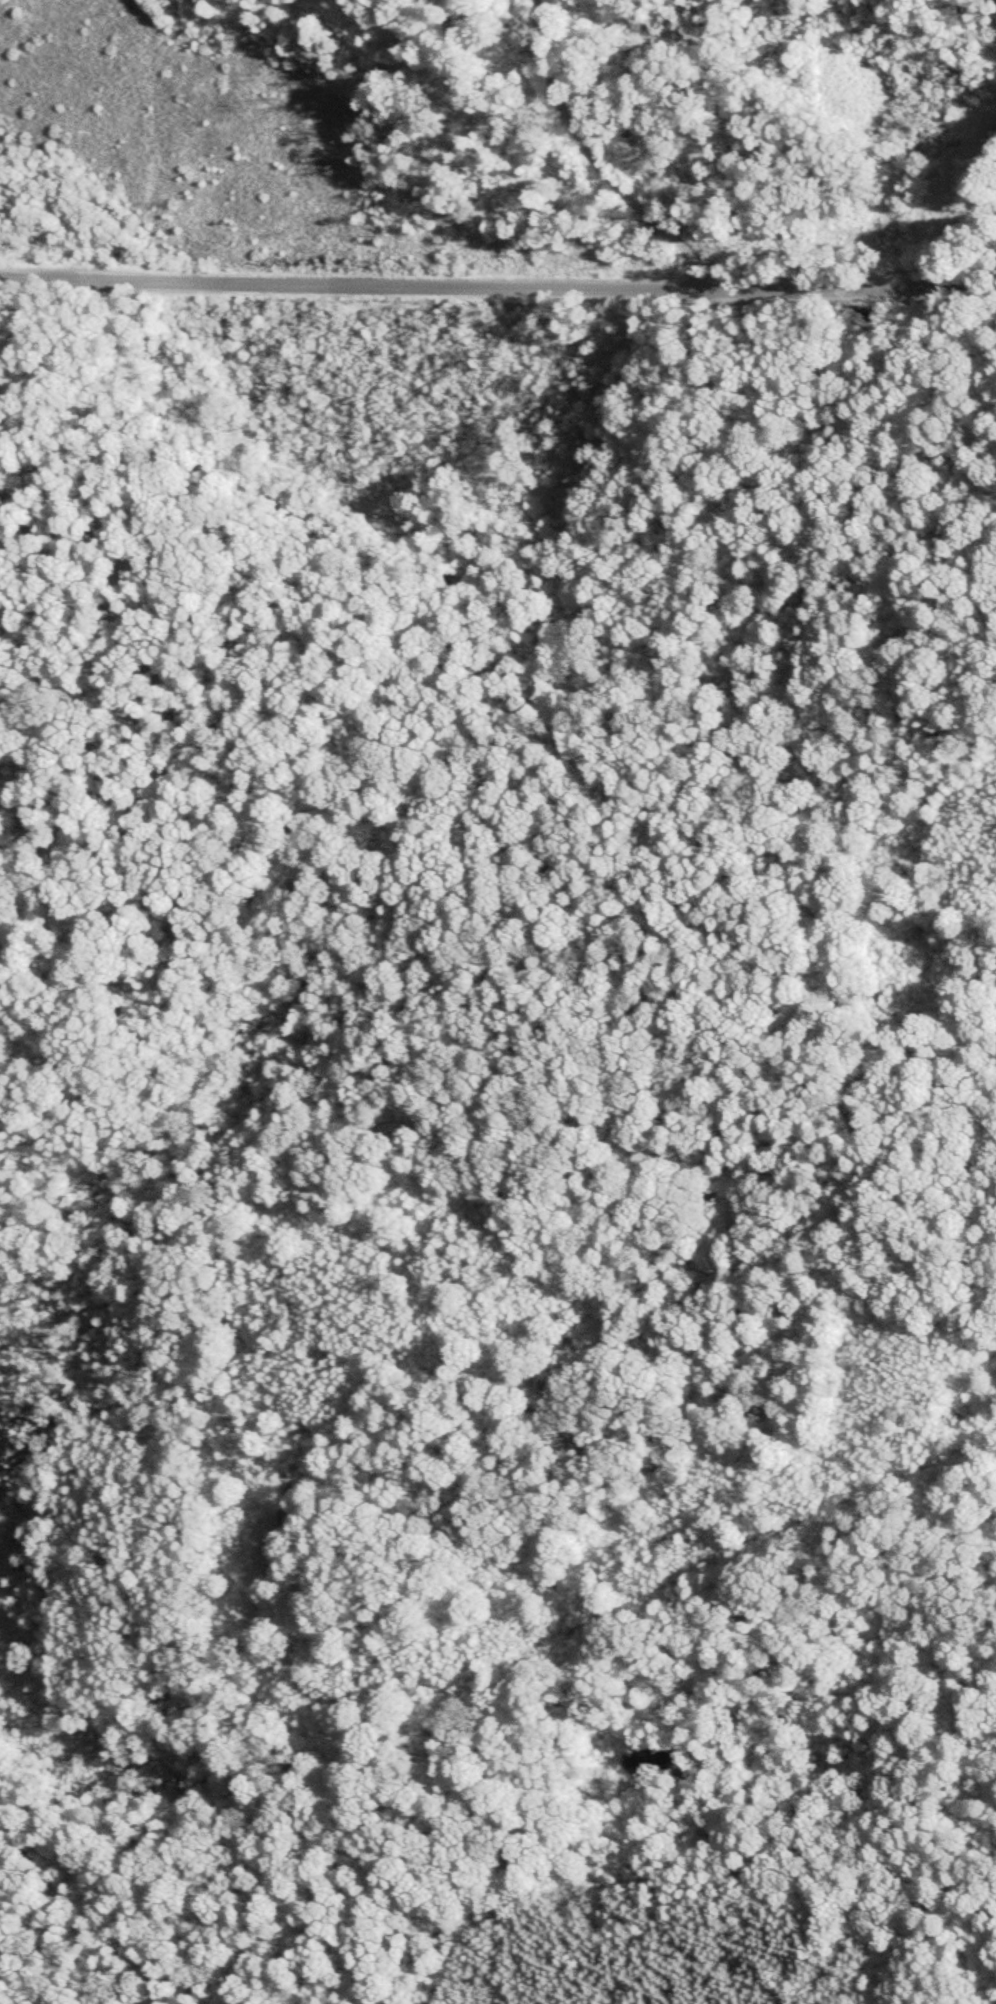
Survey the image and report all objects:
road: (594, 158)
road: (498, 283)

